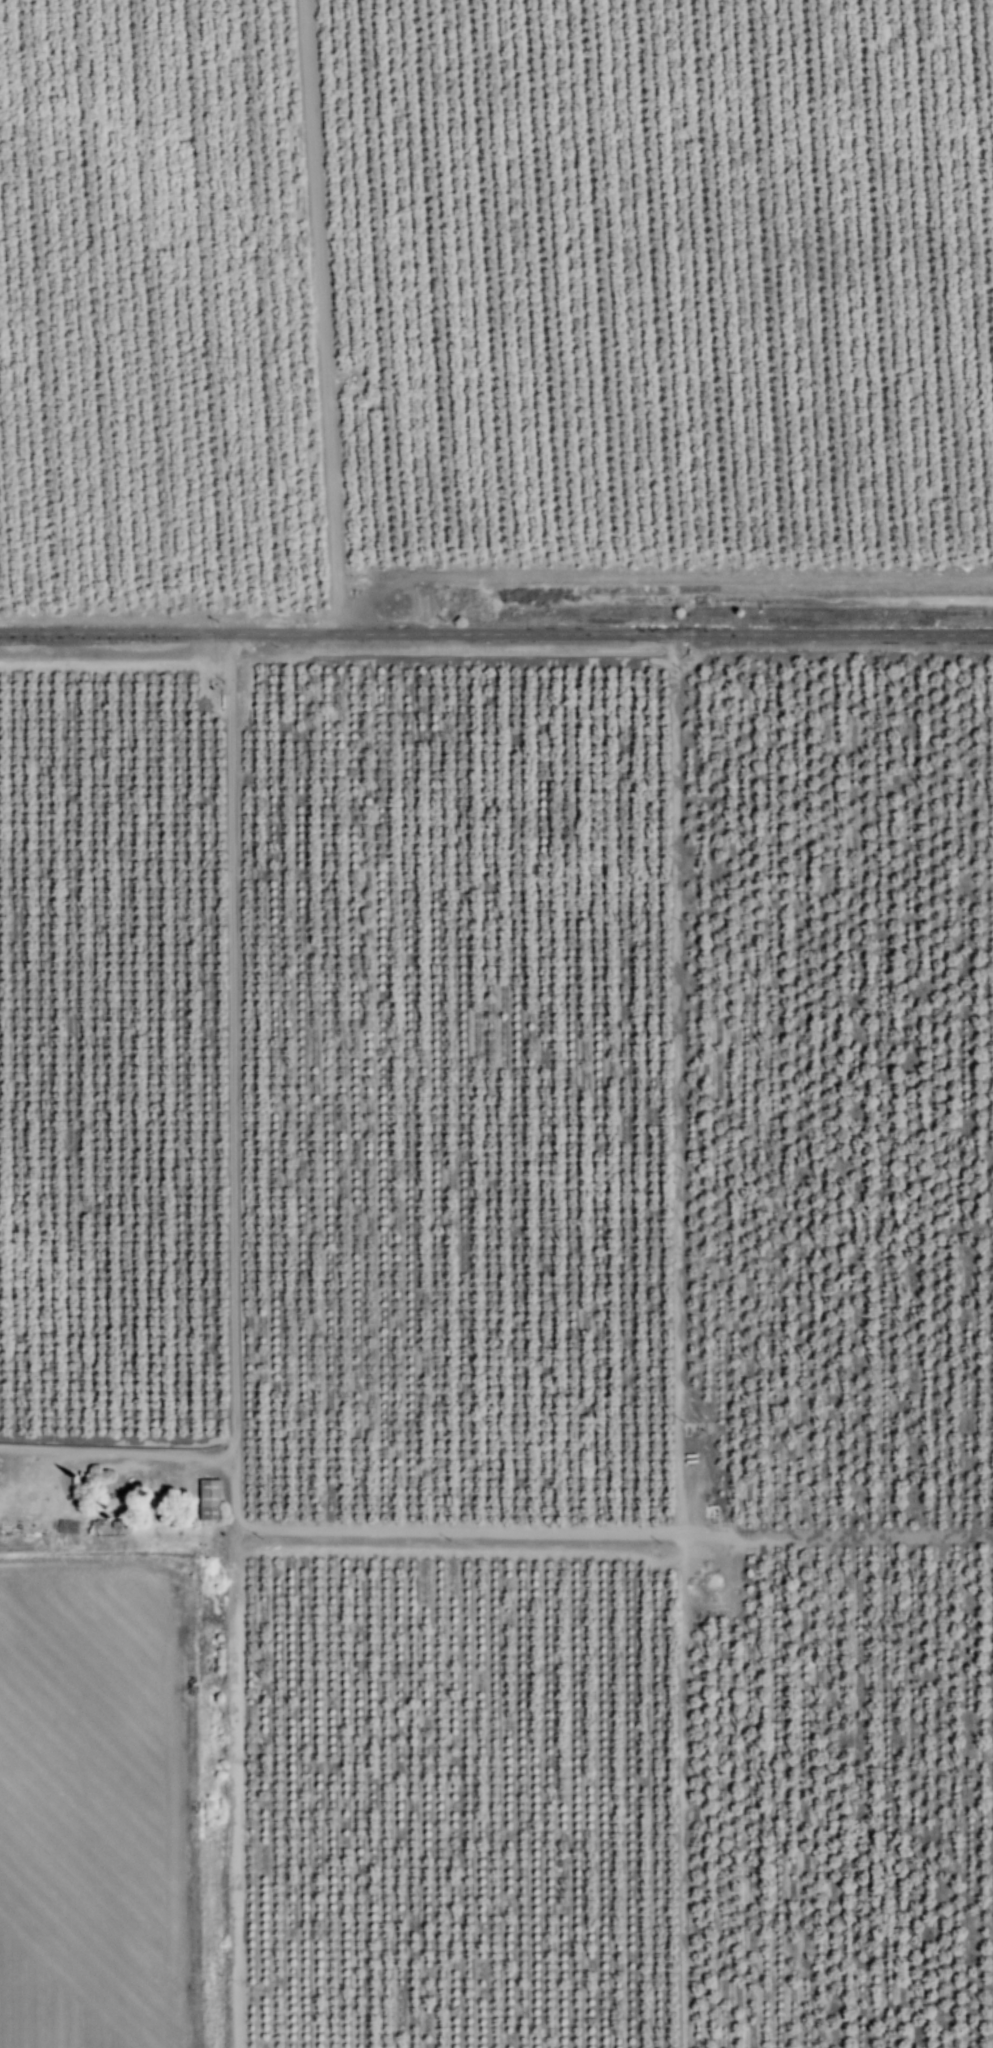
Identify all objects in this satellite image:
road: (323, 316)
road: (496, 633)
road: (292, 1046)
road: (5, 1278)
building: (207, 1499)

